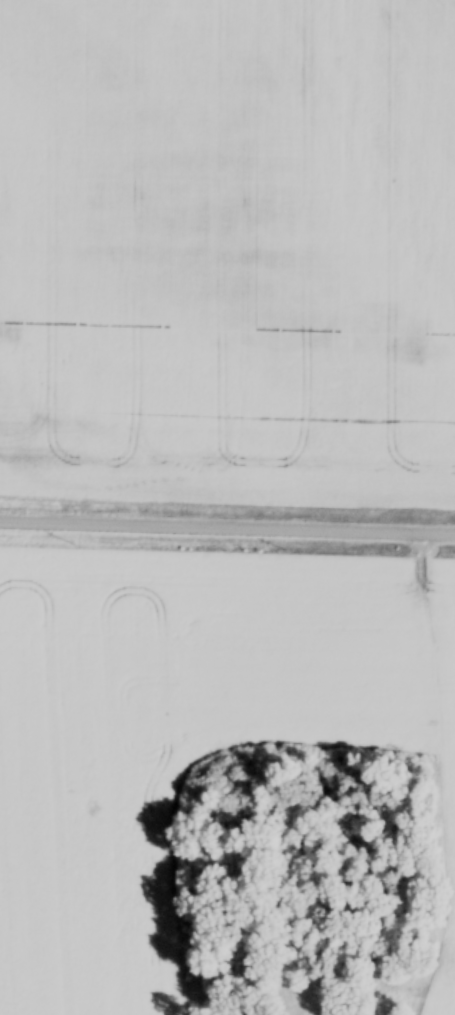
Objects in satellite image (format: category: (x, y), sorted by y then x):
road: (227, 528)

